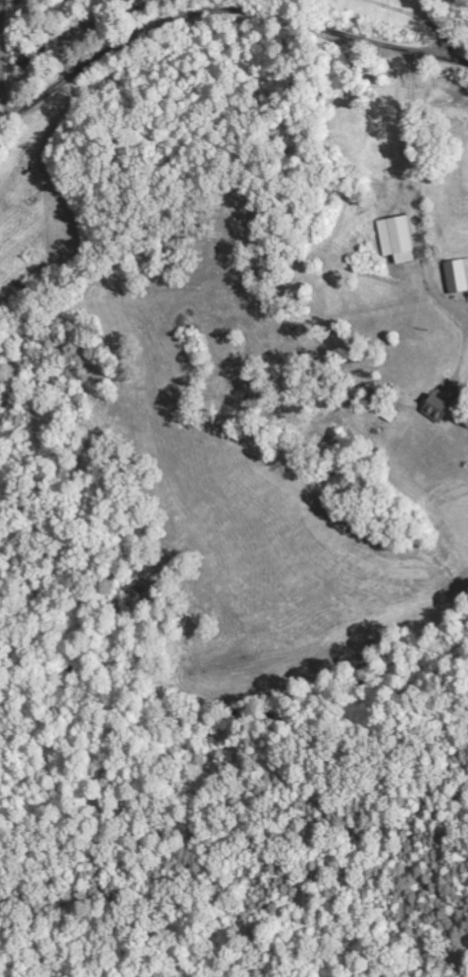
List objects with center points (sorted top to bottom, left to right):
building: (128, 1)
road: (209, 13)
road: (457, 61)
building: (398, 240)
building: (458, 276)
building: (439, 409)

